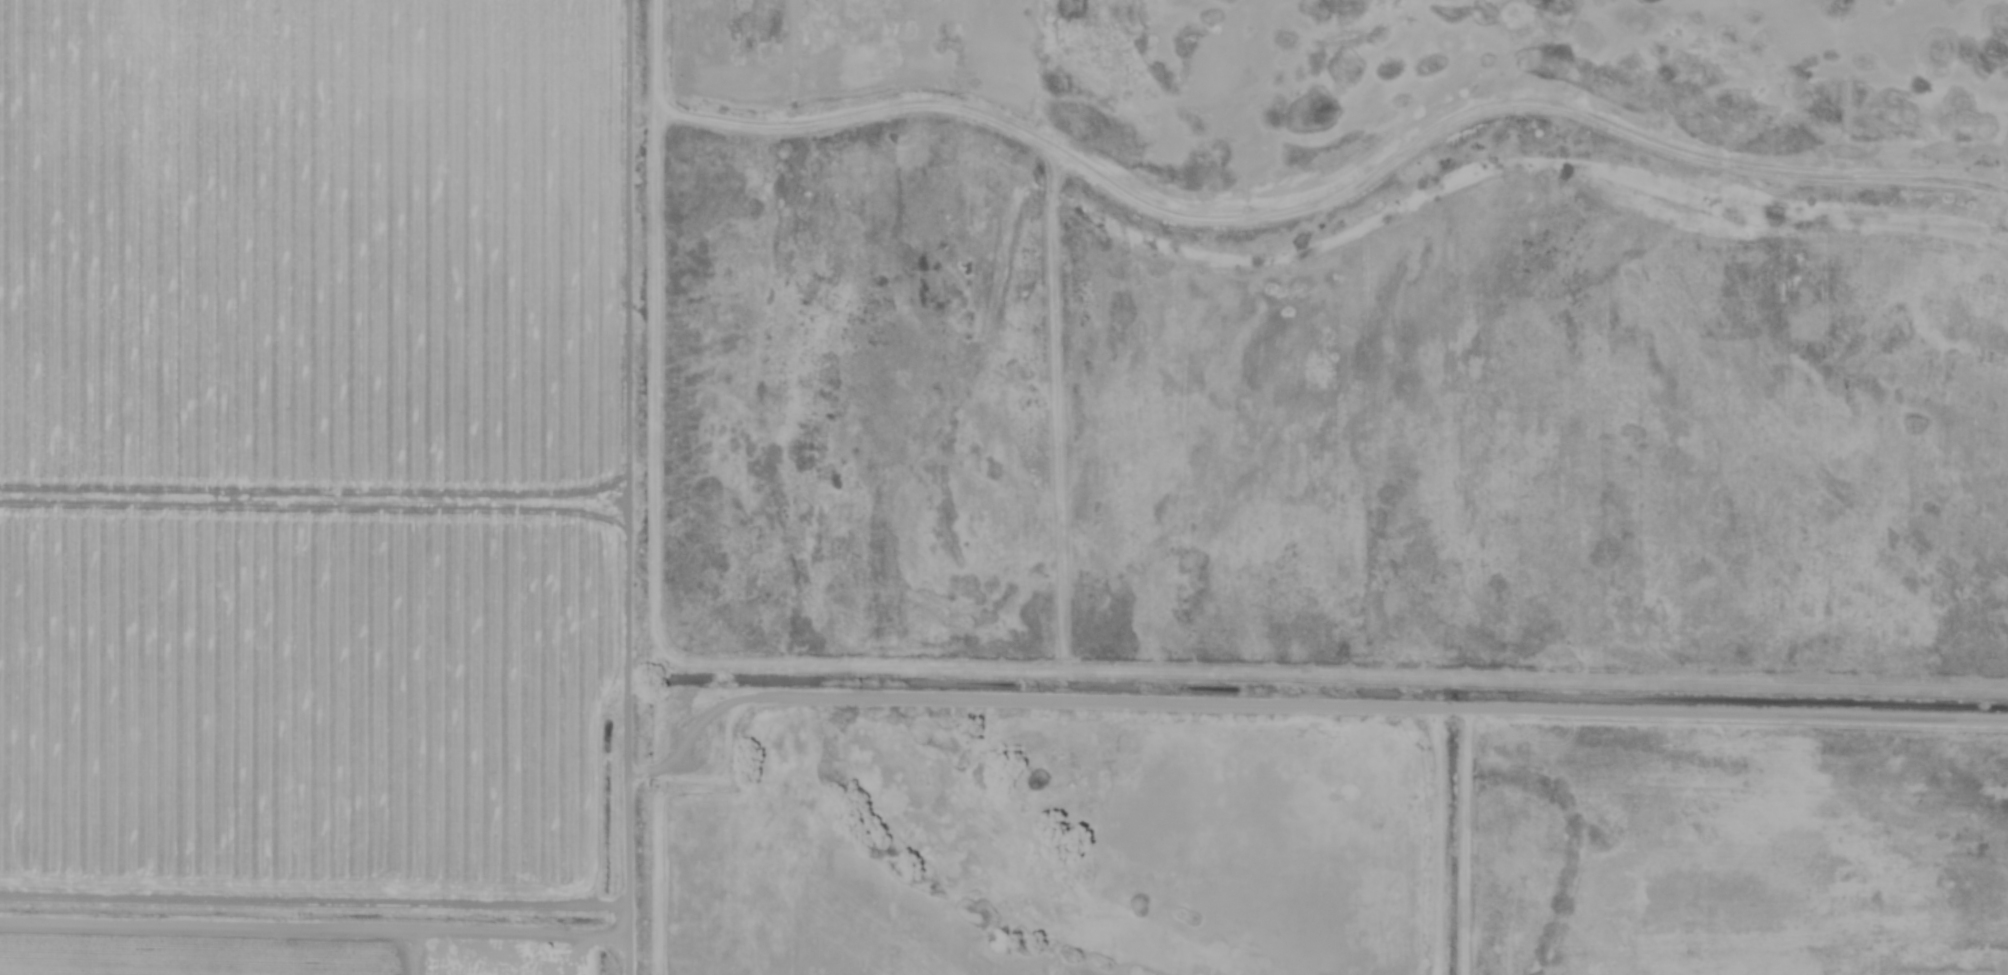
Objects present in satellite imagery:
road: (628, 487)
crop: (317, 488)

